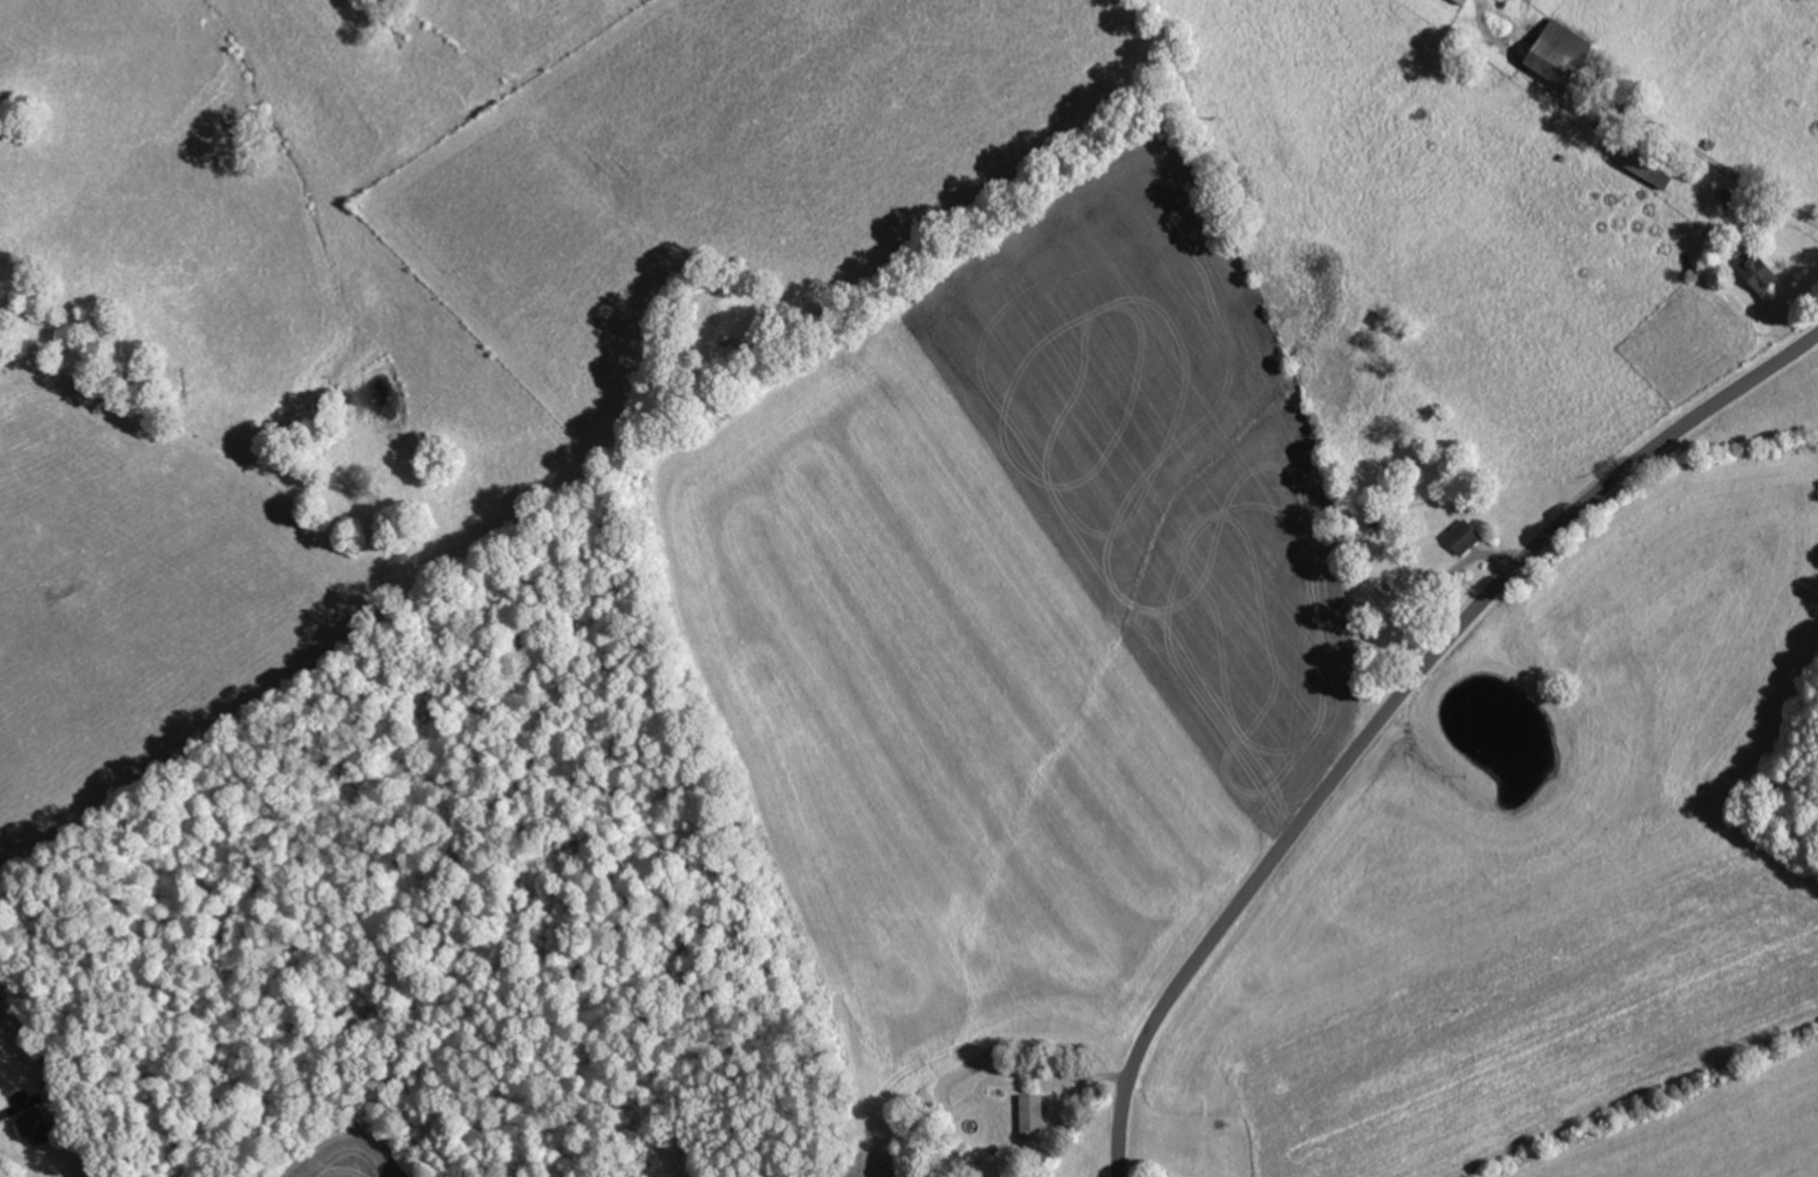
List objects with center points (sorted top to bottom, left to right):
building: (1465, 1)
building: (1564, 52)
building: (1762, 272)
building: (1464, 537)
road: (1396, 702)
building: (4, 1024)
building: (1033, 1115)
building: (37, 1127)

